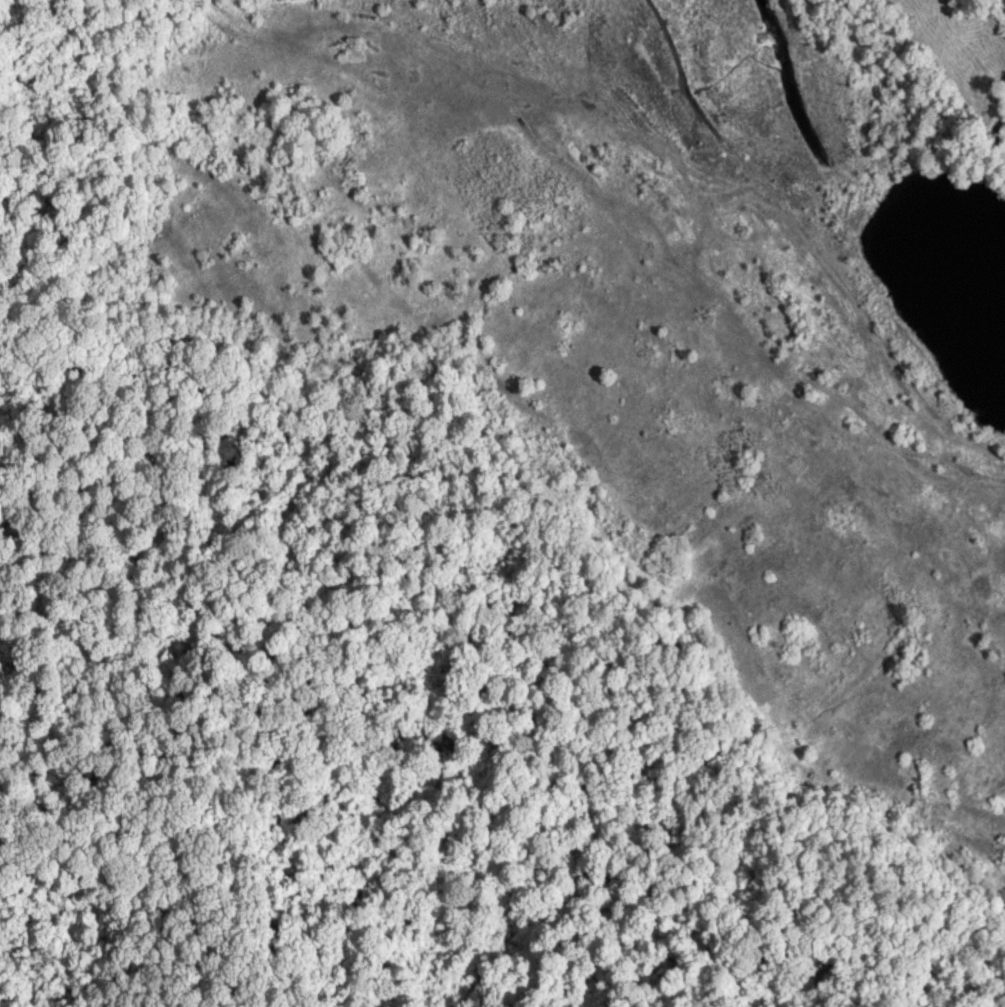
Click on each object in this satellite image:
road: (1003, 2)

